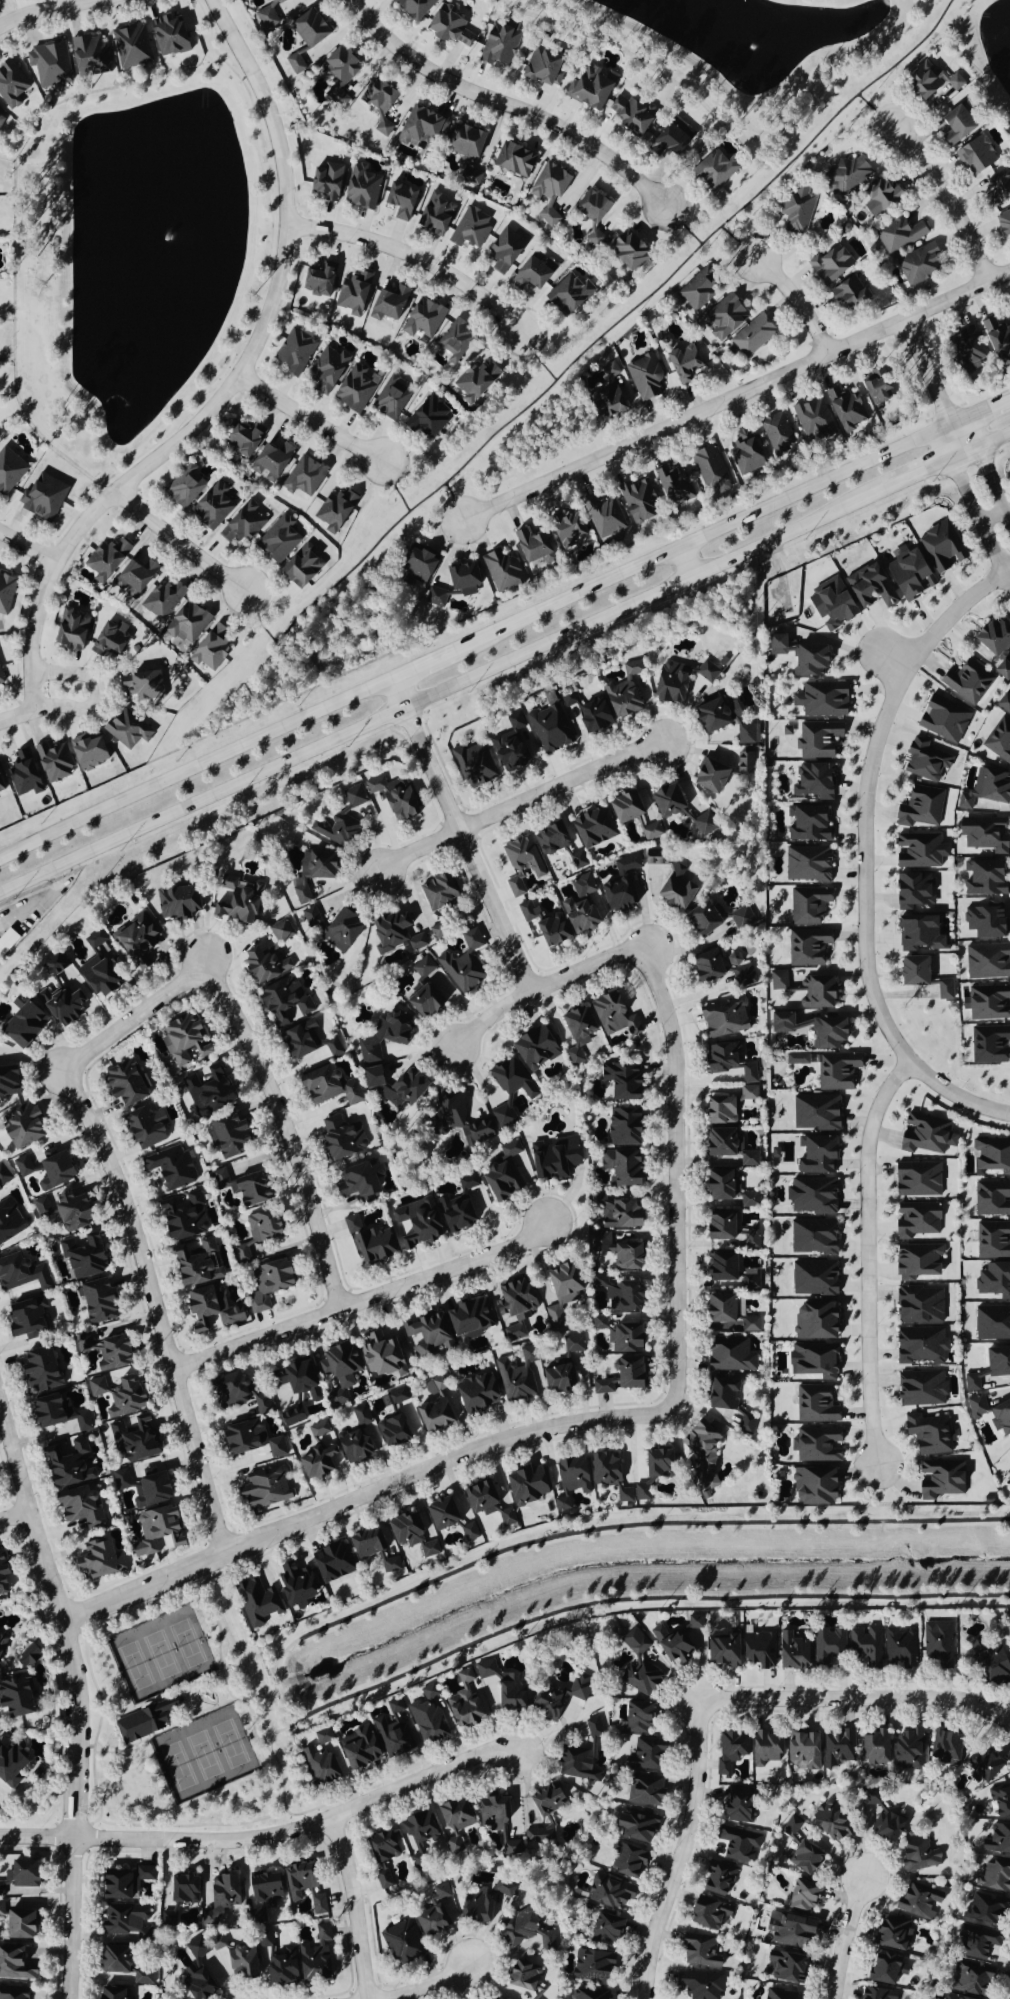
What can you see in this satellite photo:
building: (412, 8)
road: (42, 9)
building: (265, 16)
building: (447, 26)
building: (308, 28)
building: (167, 36)
building: (498, 44)
building: (129, 46)
fountain: (751, 47)
building: (88, 55)
building: (294, 63)
building: (48, 64)
building: (541, 68)
building: (334, 77)
building: (919, 82)
building: (954, 82)
building: (10, 85)
building: (588, 88)
building: (377, 96)
road: (506, 103)
road: (874, 109)
building: (627, 115)
building: (0, 117)
building: (954, 126)
building: (382, 127)
building: (420, 127)
building: (666, 142)
building: (467, 151)
building: (974, 155)
building: (513, 160)
building: (713, 171)
building: (845, 175)
building: (325, 181)
building: (359, 188)
building: (996, 188)
building: (548, 190)
building: (880, 196)
road: (947, 197)
building: (399, 200)
building: (795, 211)
building: (433, 214)
building: (591, 217)
road: (683, 223)
building: (1003, 223)
building: (469, 228)
building: (898, 236)
road: (738, 240)
building: (503, 250)
building: (627, 252)
road: (415, 256)
building: (828, 264)
building: (918, 264)
building: (530, 271)
building: (315, 280)
building: (695, 293)
building: (847, 293)
building: (352, 294)
building: (566, 295)
road: (795, 301)
building: (386, 304)
building: (724, 317)
building: (421, 320)
building: (752, 336)
building: (996, 337)
building: (454, 341)
road: (591, 341)
building: (963, 349)
building: (293, 351)
road: (536, 356)
building: (682, 363)
building: (325, 371)
road: (926, 372)
building: (644, 377)
road: (234, 379)
building: (474, 381)
building: (354, 388)
building: (873, 389)
road: (736, 393)
building: (390, 399)
building: (605, 404)
building: (843, 408)
road: (979, 412)
road: (310, 417)
building: (426, 418)
building: (812, 419)
building: (776, 433)
building: (241, 439)
building: (744, 453)
building: (269, 462)
road: (984, 468)
building: (709, 469)
building: (10, 470)
building: (303, 476)
building: (670, 483)
road: (394, 484)
road: (959, 484)
building: (184, 486)
building: (42, 498)
road: (454, 499)
building: (636, 499)
building: (212, 506)
building: (333, 511)
building: (603, 517)
building: (241, 525)
building: (564, 529)
road: (710, 534)
building: (277, 540)
road: (178, 541)
building: (529, 545)
road: (27, 546)
building: (940, 548)
building: (104, 560)
road: (684, 561)
road: (997, 561)
building: (415, 565)
building: (300, 567)
building: (500, 571)
building: (907, 574)
building: (462, 576)
building: (133, 578)
building: (868, 587)
building: (6, 593)
building: (161, 599)
building: (829, 605)
building: (69, 631)
building: (108, 639)
building: (995, 646)
building: (209, 650)
building: (799, 657)
road: (890, 658)
road: (504, 660)
road: (430, 662)
building: (705, 672)
building: (1, 680)
building: (966, 682)
building: (668, 683)
building: (141, 685)
road: (95, 689)
building: (623, 692)
building: (821, 700)
building: (1004, 702)
building: (585, 713)
road: (16, 714)
building: (714, 715)
building: (942, 719)
building: (548, 728)
building: (124, 730)
building: (747, 734)
building: (817, 740)
building: (999, 741)
building: (511, 744)
building: (86, 751)
building: (924, 761)
building: (51, 762)
building: (472, 764)
road: (194, 771)
building: (21, 774)
building: (707, 776)
building: (813, 782)
building: (0, 788)
building: (985, 789)
building: (393, 797)
building: (666, 801)
road: (518, 804)
building: (623, 807)
building: (919, 808)
building: (808, 824)
building: (590, 827)
building: (651, 832)
road: (462, 834)
building: (984, 834)
building: (550, 839)
building: (919, 851)
road: (865, 852)
building: (522, 856)
building: (650, 858)
building: (577, 861)
building: (806, 865)
building: (309, 874)
building: (984, 879)
building: (620, 886)
building: (514, 887)
building: (673, 889)
building: (912, 891)
building: (435, 893)
road: (37, 901)
building: (232, 901)
building: (176, 903)
building: (583, 906)
building: (807, 906)
building: (527, 912)
building: (740, 919)
building: (700, 920)
building: (986, 921)
building: (280, 931)
building: (436, 931)
building: (550, 931)
building: (394, 934)
building: (918, 934)
building: (94, 940)
building: (136, 942)
building: (806, 947)
building: (987, 962)
building: (462, 964)
building: (262, 965)
building: (720, 968)
building: (912, 972)
building: (98, 975)
building: (778, 981)
road: (540, 986)
building: (943, 990)
building: (816, 994)
building: (281, 1002)
building: (422, 1002)
building: (986, 1003)
building: (59, 1007)
building: (612, 1016)
building: (723, 1018)
building: (22, 1025)
building: (810, 1030)
building: (575, 1032)
building: (381, 1037)
building: (181, 1042)
building: (306, 1042)
building: (988, 1045)
building: (532, 1048)
building: (720, 1058)
building: (796, 1059)
road: (252, 1060)
building: (836, 1071)
building: (748, 1074)
building: (369, 1078)
building: (511, 1079)
building: (620, 1082)
building: (124, 1084)
building: (326, 1087)
building: (401, 1089)
building: (206, 1091)
building: (747, 1093)
building: (718, 1111)
building: (816, 1113)
building: (456, 1125)
building: (144, 1126)
building: (21, 1127)
building: (622, 1128)
building: (227, 1134)
building: (924, 1135)
building: (340, 1139)
building: (718, 1143)
building: (992, 1155)
building: (815, 1156)
building: (748, 1159)
building: (23, 1166)
building: (526, 1166)
building: (170, 1168)
building: (620, 1168)
building: (55, 1170)
building: (3, 1176)
building: (916, 1180)
building: (355, 1182)
building: (466, 1182)
building: (717, 1186)
building: (241, 1188)
building: (811, 1196)
building: (991, 1199)
road: (676, 1208)
building: (62, 1211)
building: (455, 1213)
building: (615, 1213)
building: (181, 1217)
building: (915, 1220)
building: (9, 1222)
building: (415, 1224)
building: (351, 1225)
building: (718, 1227)
building: (256, 1233)
building: (812, 1237)
building: (992, 1241)
building: (371, 1245)
building: (616, 1252)
building: (81, 1256)
road: (868, 1257)
building: (916, 1262)
building: (193, 1264)
building: (719, 1268)
building: (20, 1273)
building: (813, 1279)
building: (994, 1281)
building: (266, 1285)
building: (559, 1293)
building: (615, 1297)
road: (360, 1298)
building: (96, 1300)
road: (157, 1306)
building: (918, 1306)
building: (513, 1309)
building: (209, 1310)
building: (717, 1310)
building: (24, 1317)
building: (469, 1318)
building: (814, 1322)
building: (599, 1324)
building: (991, 1324)
building: (749, 1325)
building: (424, 1335)
building: (623, 1340)
building: (573, 1344)
building: (919, 1346)
building: (103, 1349)
building: (378, 1355)
building: (730, 1355)
building: (813, 1361)
building: (990, 1368)
building: (39, 1370)
building: (337, 1372)
building: (627, 1374)
building: (295, 1377)
building: (517, 1377)
building: (603, 1387)
building: (228, 1389)
building: (920, 1389)
building: (118, 1393)
building: (475, 1394)
building: (720, 1395)
building: (259, 1404)
building: (815, 1405)
building: (44, 1411)
building: (991, 1414)
building: (432, 1415)
building: (75, 1418)
building: (412, 1422)
building: (316, 1429)
building: (391, 1432)
building: (928, 1434)
building: (242, 1436)
building: (134, 1438)
building: (355, 1439)
building: (816, 1445)
building: (275, 1447)
building: (700, 1455)
building: (317, 1462)
building: (67, 1464)
building: (1009, 1465)
building: (604, 1469)
building: (651, 1472)
building: (570, 1476)
building: (121, 1480)
building: (940, 1480)
building: (525, 1486)
building: (812, 1487)
building: (264, 1488)
building: (150, 1490)
building: (479, 1498)
building: (623, 1498)
building: (561, 1504)
building: (79, 1507)
road: (327, 1510)
building: (439, 1513)
road: (14, 1518)
road: (30, 1518)
building: (506, 1518)
building: (155, 1530)
building: (468, 1532)
building: (409, 1534)
building: (365, 1543)
building: (97, 1560)
building: (330, 1562)
building: (388, 1564)
building: (2, 1579)
building: (294, 1584)
building: (256, 1602)
building: (693, 1621)
road: (215, 1622)
building: (670, 1644)
building: (937, 1644)
building: (826, 1645)
building: (3, 1646)
building: (865, 1646)
building: (899, 1646)
building: (721, 1650)
building: (757, 1650)
building: (790, 1651)
park: (160, 1653)
building: (26, 1657)
building: (639, 1666)
building: (991, 1666)
road: (274, 1673)
building: (465, 1675)
road: (192, 1684)
building: (500, 1687)
building: (578, 1688)
building: (15, 1696)
building: (546, 1702)
road: (857, 1702)
building: (462, 1709)
road: (293, 1718)
building: (427, 1718)
building: (635, 1718)
building: (143, 1721)
park: (186, 1721)
road: (97, 1724)
road: (284, 1728)
road: (75, 1729)
building: (392, 1736)
building: (943, 1746)
building: (763, 1748)
building: (802, 1748)
building: (837, 1748)
building: (872, 1748)
building: (907, 1748)
building: (357, 1749)
building: (728, 1753)
building: (580, 1754)
road: (271, 1755)
building: (645, 1755)
park: (202, 1756)
building: (320, 1761)
building: (982, 1765)
building: (10, 1766)
building: (643, 1789)
building: (1000, 1801)
building: (734, 1806)
building: (540, 1816)
building: (452, 1822)
building: (828, 1824)
building: (496, 1827)
building: (634, 1827)
building: (790, 1828)
building: (886, 1828)
building: (416, 1832)
road: (265, 1837)
building: (997, 1840)
building: (739, 1845)
building: (381, 1846)
road: (678, 1854)
building: (918, 1856)
building: (804, 1858)
building: (624, 1861)
building: (993, 1875)
building: (17, 1877)
building: (716, 1878)
building: (382, 1879)
building: (296, 1880)
building: (121, 1883)
building: (182, 1889)
building: (502, 1890)
building: (221, 1891)
building: (608, 1892)
building: (259, 1895)
building: (800, 1896)
building: (918, 1901)
building: (318, 1905)
building: (475, 1907)
road: (356, 1908)
building: (984, 1910)
building: (434, 1914)
road: (67, 1918)
building: (124, 1922)
building: (16, 1923)
building: (604, 1929)
building: (526, 1931)
building: (791, 1931)
building: (890, 1933)
road: (843, 1938)
building: (217, 1942)
building: (975, 1942)
building: (400, 1943)
building: (699, 1951)
building: (314, 1956)
building: (112, 1960)
building: (273, 1961)
building: (240, 1962)
building: (14, 1964)
building: (591, 1966)
building: (785, 1967)
building: (881, 1968)
building: (520, 1976)
building: (143, 1977)
building: (972, 1978)
building: (197, 1984)
road: (425, 1985)
building: (699, 1985)
building: (12, 1992)
building: (109, 1993)
building: (590, 1993)
building: (781, 1994)
building: (875, 1994)
building: (950, 1997)
building: (497, 1998)
building: (533, 1998)

